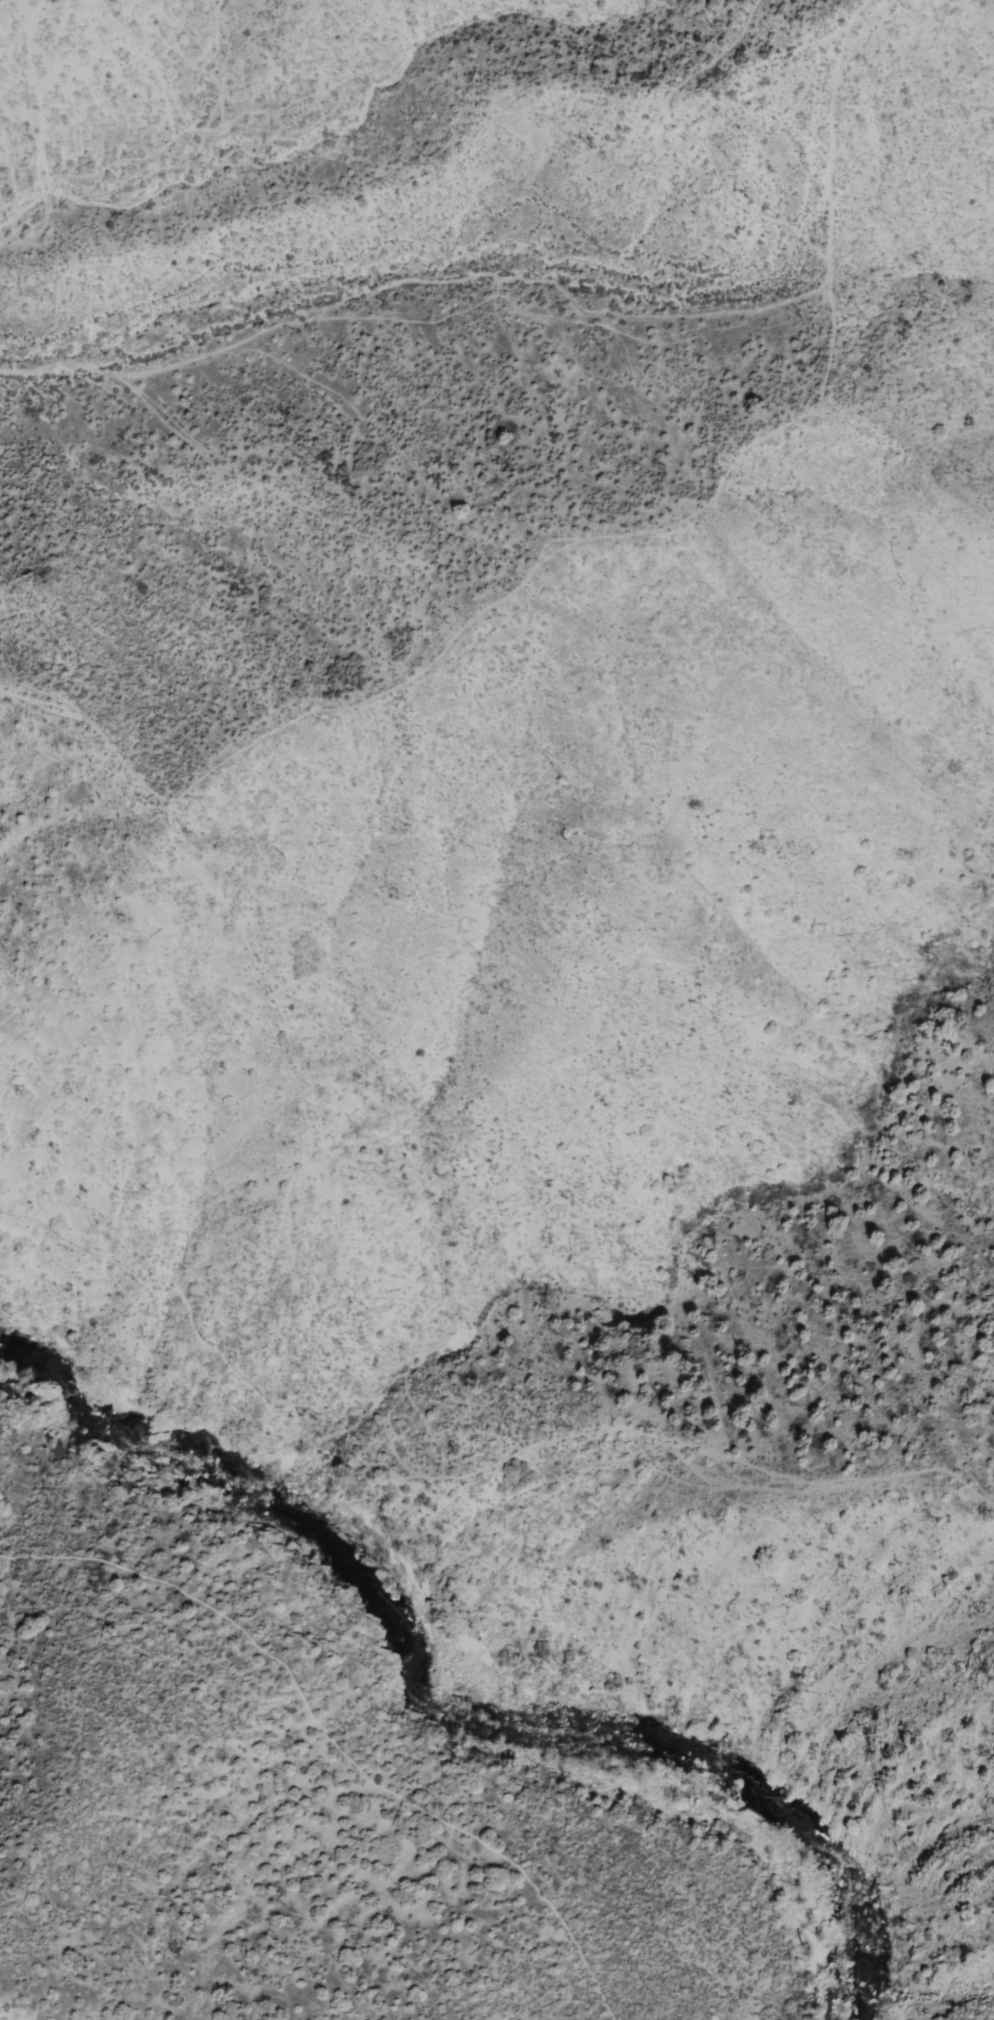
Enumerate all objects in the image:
road: (190, 132)
road: (335, 135)
road: (690, 141)
road: (229, 146)
road: (557, 296)
road: (460, 636)
road: (333, 1730)

